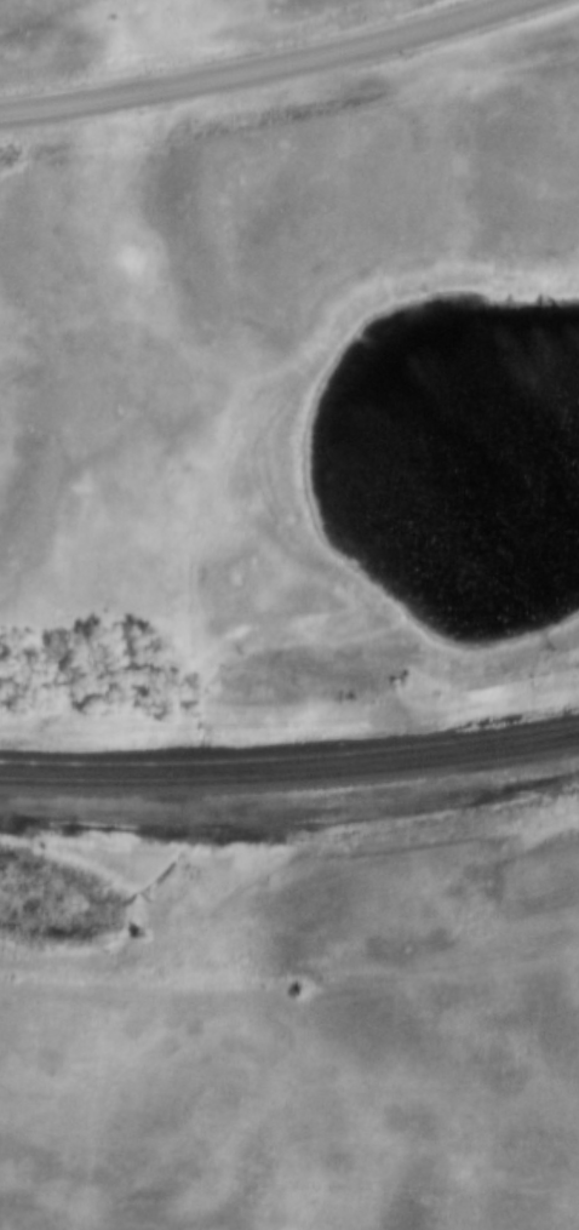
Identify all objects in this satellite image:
road: (269, 69)
railway: (289, 760)
railway: (289, 776)

